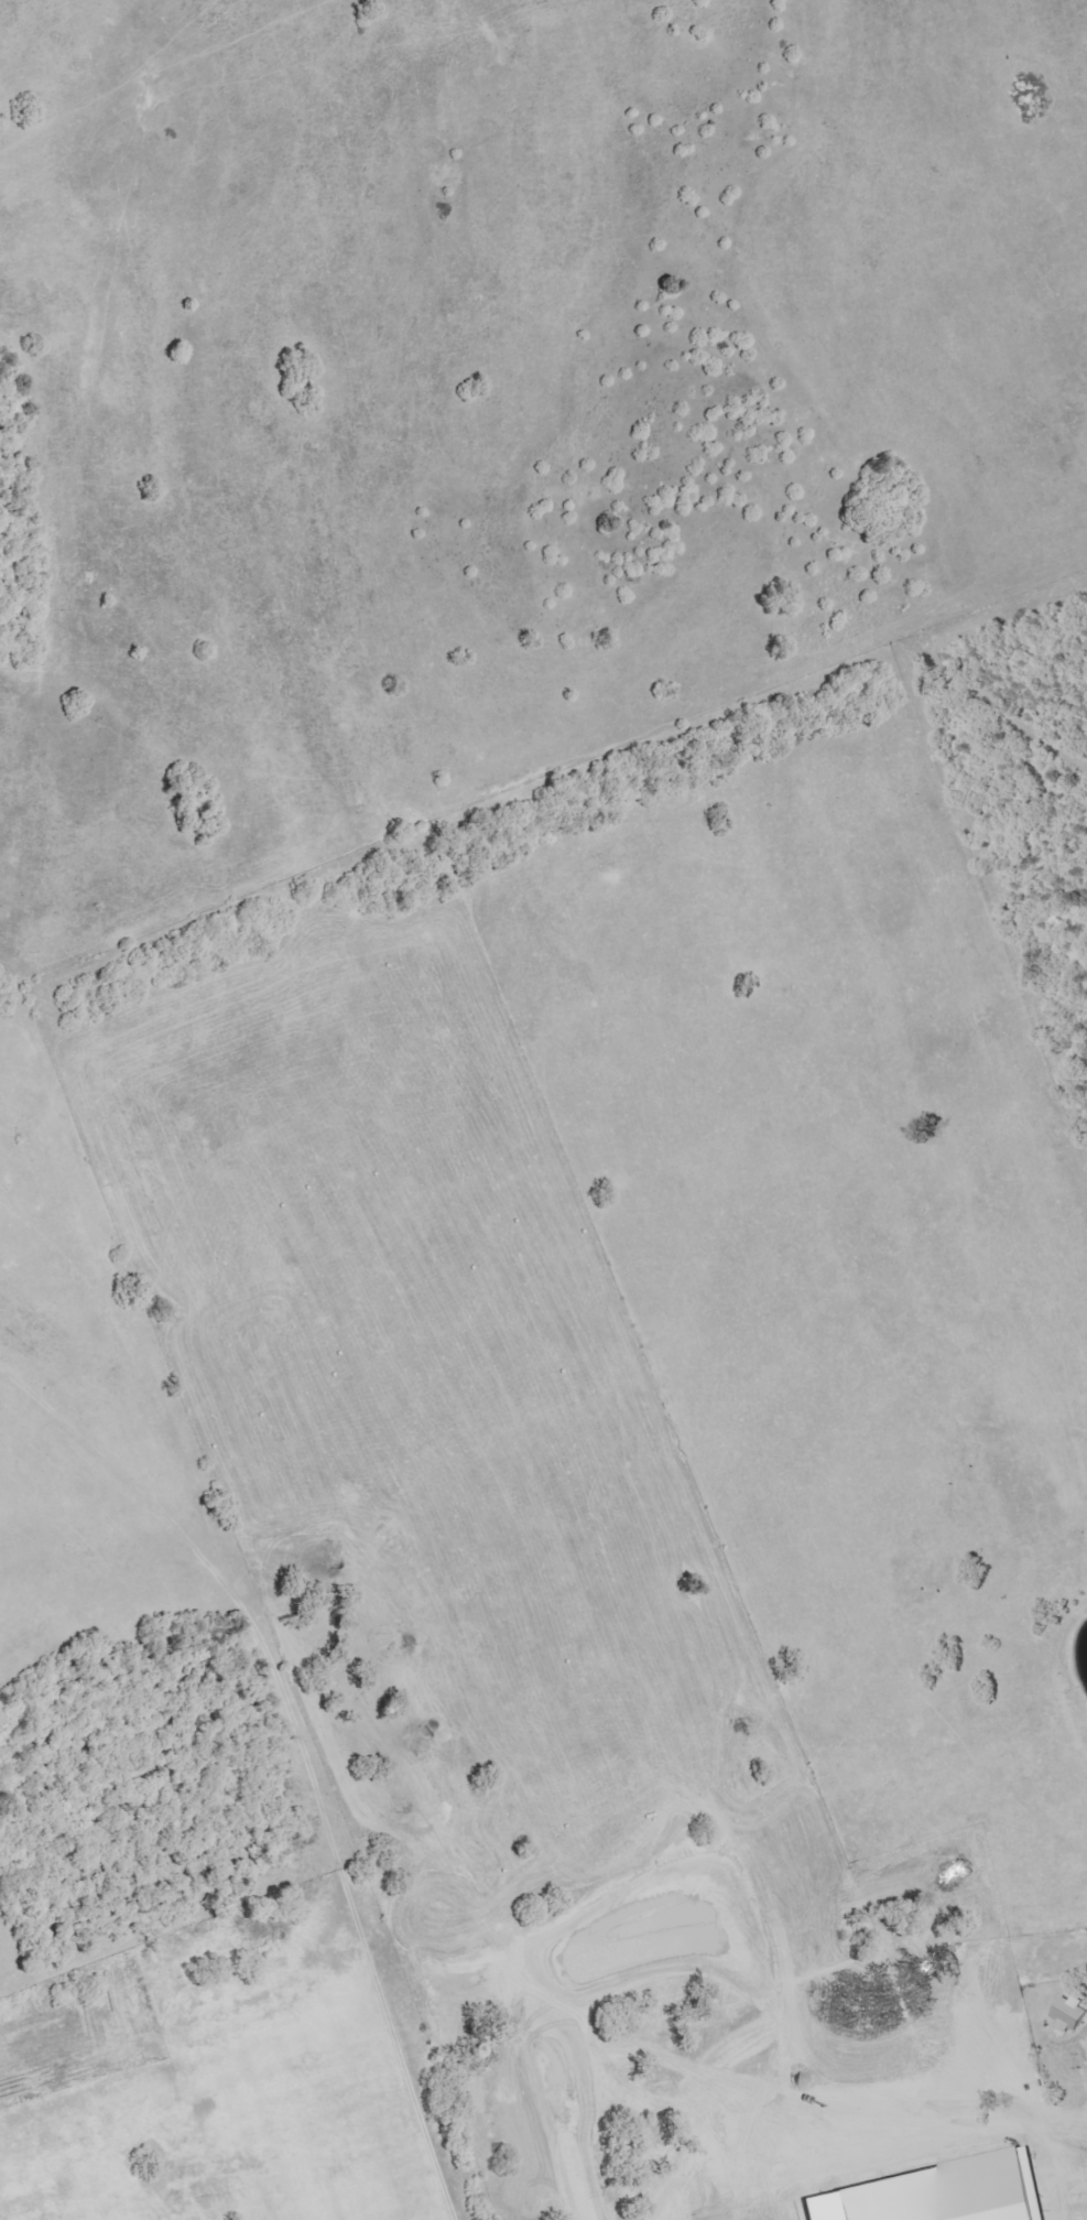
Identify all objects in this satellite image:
building: (1069, 2012)

